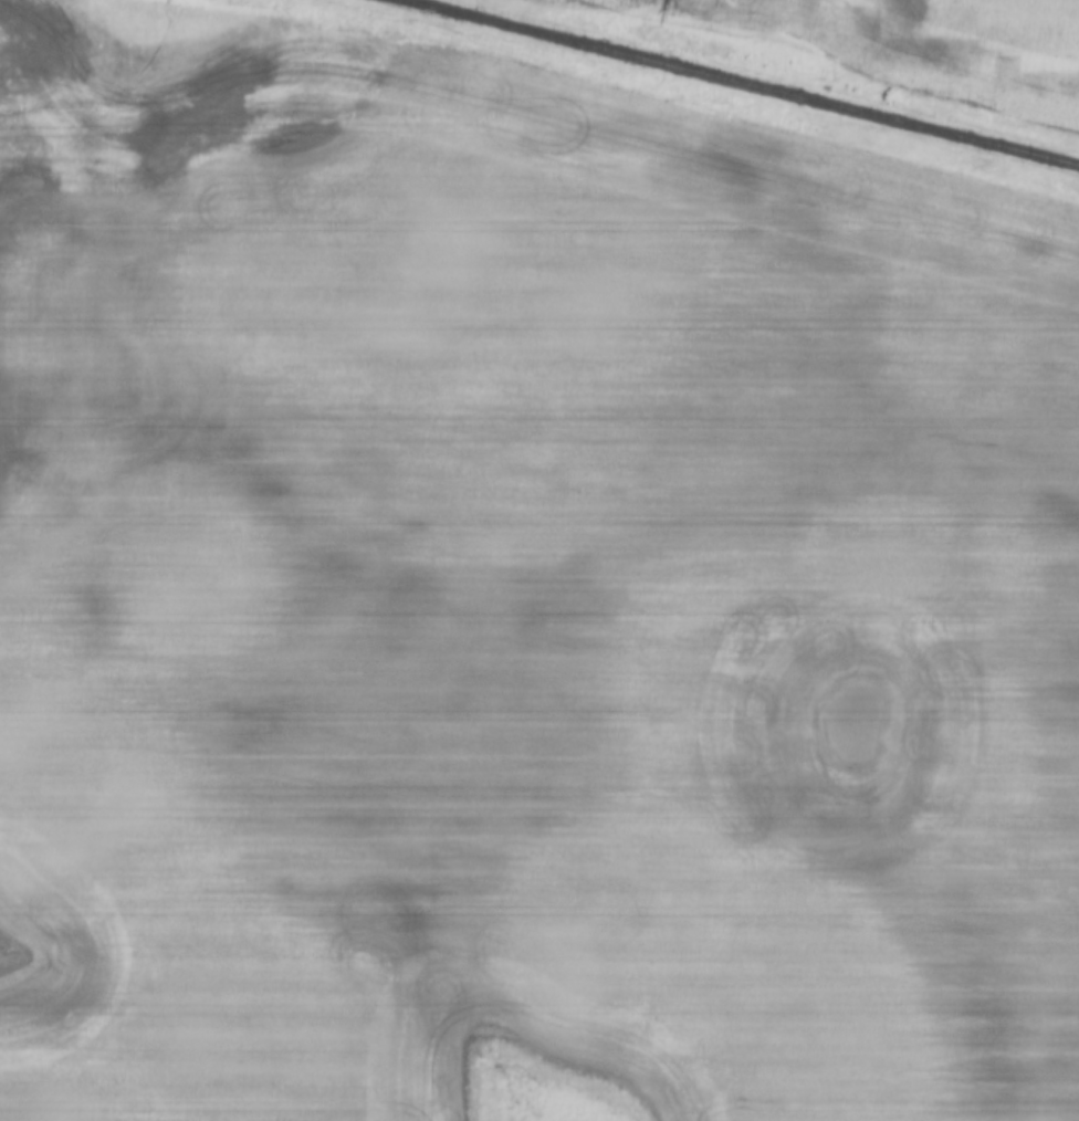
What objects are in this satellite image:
railway: (740, 83)

